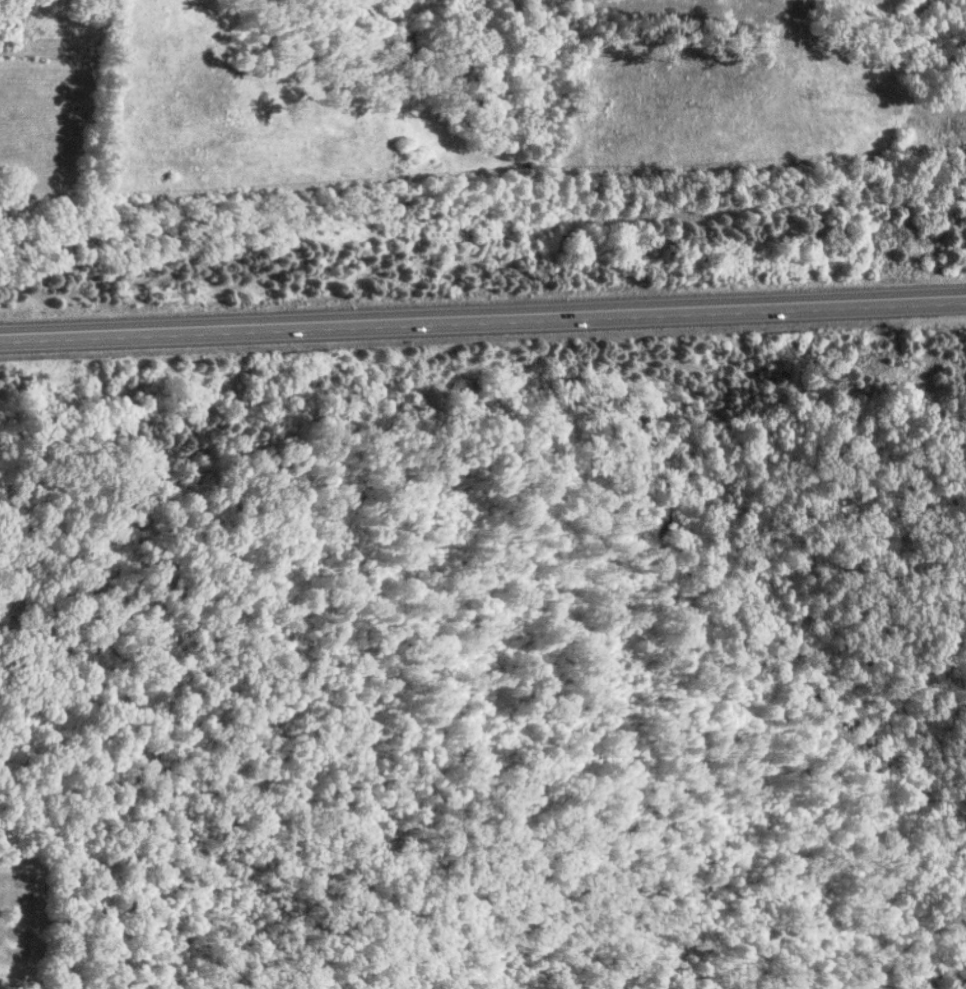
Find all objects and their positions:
road: (483, 315)

